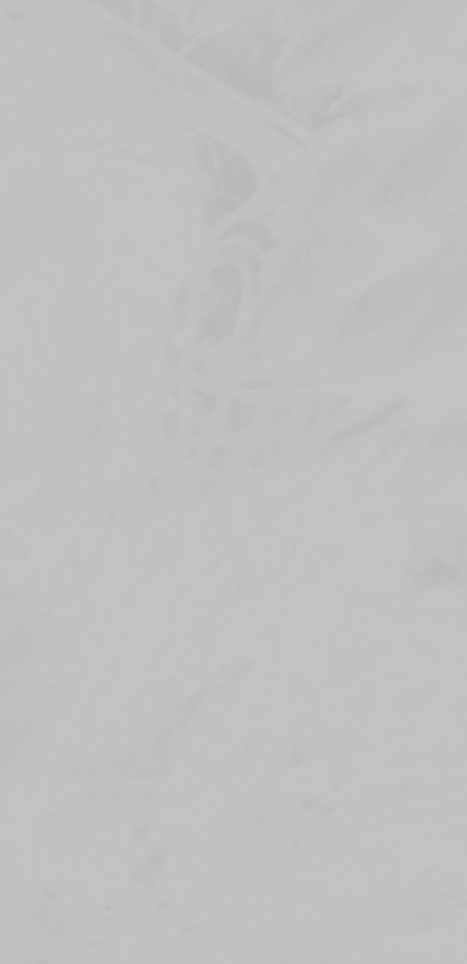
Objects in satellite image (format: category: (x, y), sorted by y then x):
building: (51, 23)
building: (389, 83)

